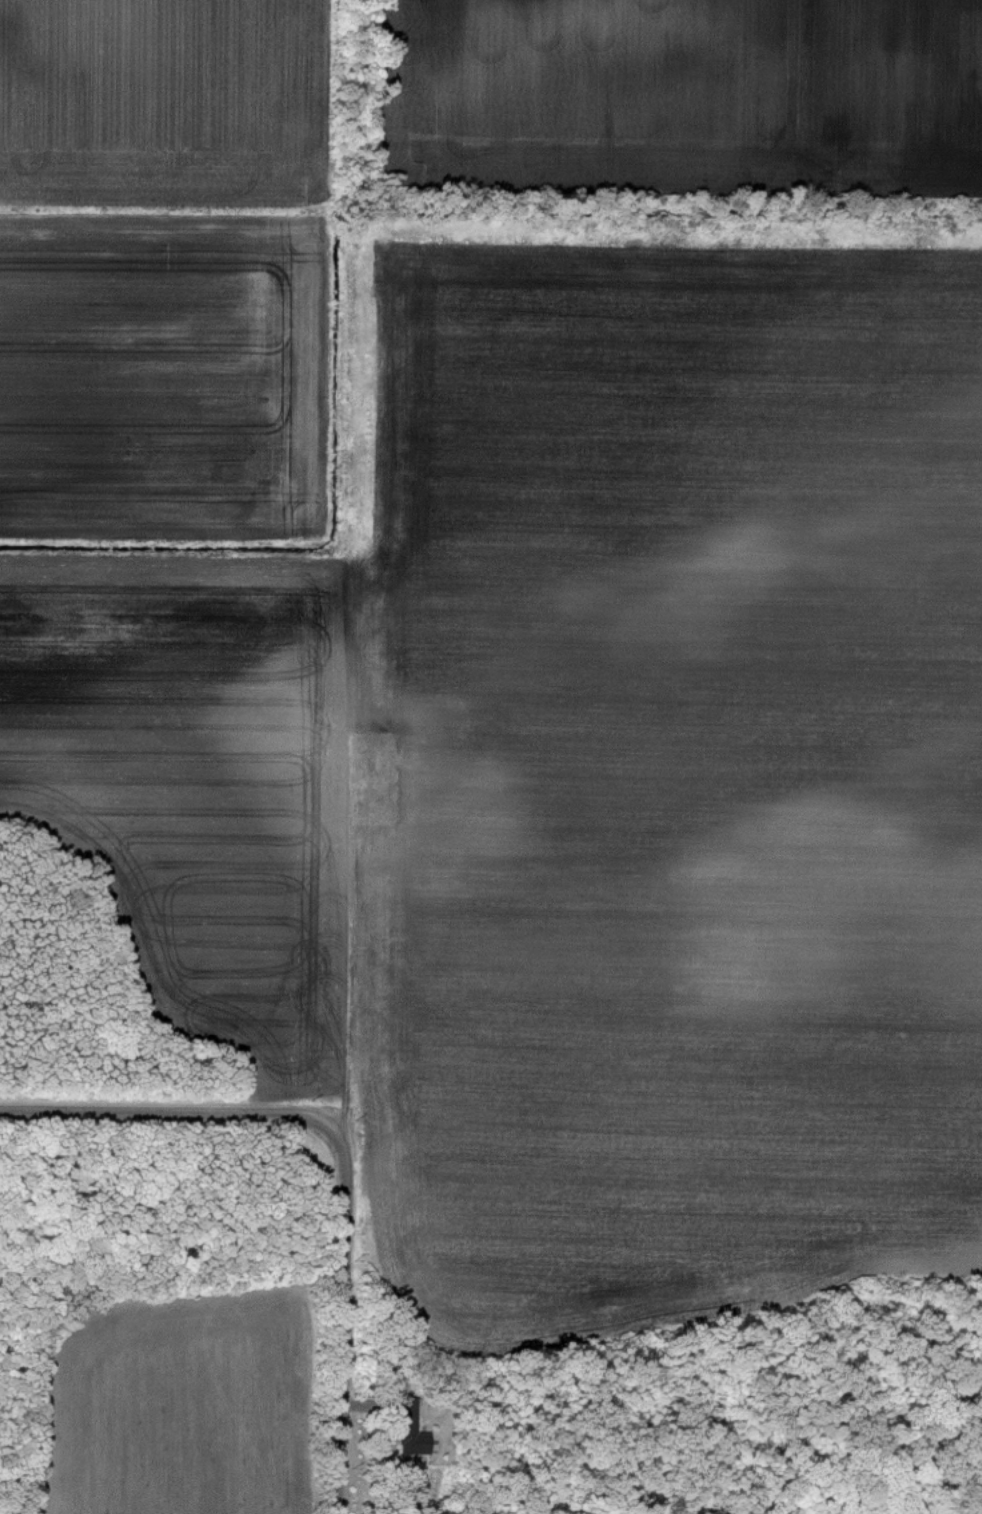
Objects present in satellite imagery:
road: (168, 1116)
road: (337, 1317)
building: (412, 1429)

